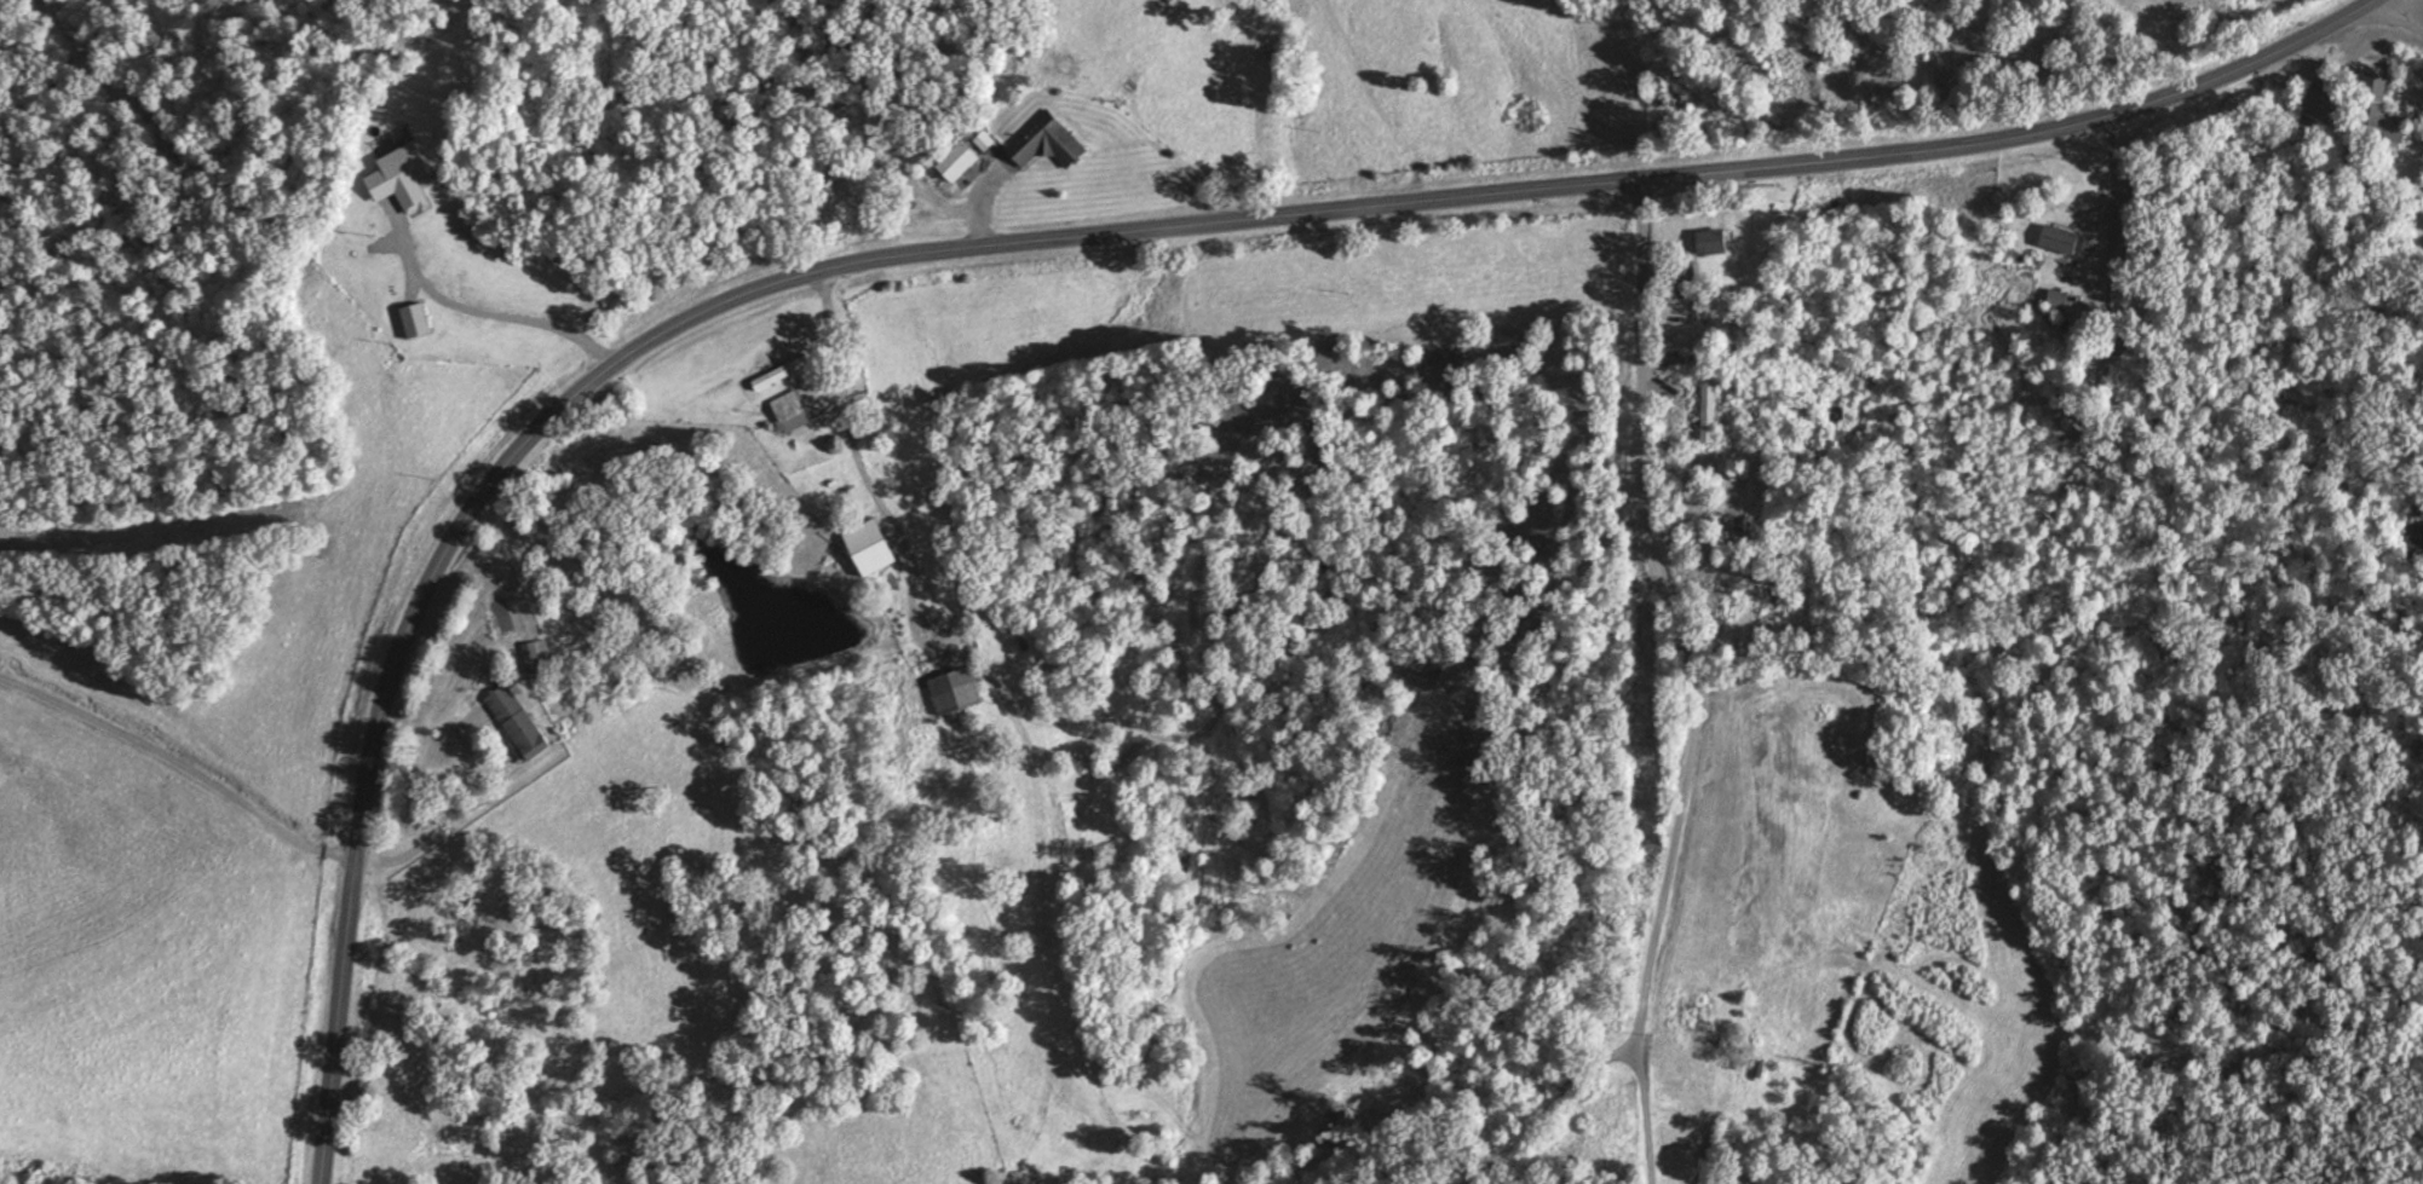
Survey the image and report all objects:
road: (2413, 13)
building: (2324, 108)
building: (2373, 117)
building: (1047, 141)
building: (957, 161)
building: (398, 174)
road: (1031, 231)
building: (1713, 241)
building: (2059, 300)
building: (416, 319)
building: (781, 372)
building: (1708, 410)
building: (790, 411)
building: (870, 547)
building: (1771, 600)
building: (1715, 602)
building: (536, 657)
road: (1667, 682)
building: (955, 691)
building: (518, 721)
road: (171, 786)
building: (1761, 960)
building: (1702, 1020)
road: (1553, 1121)

